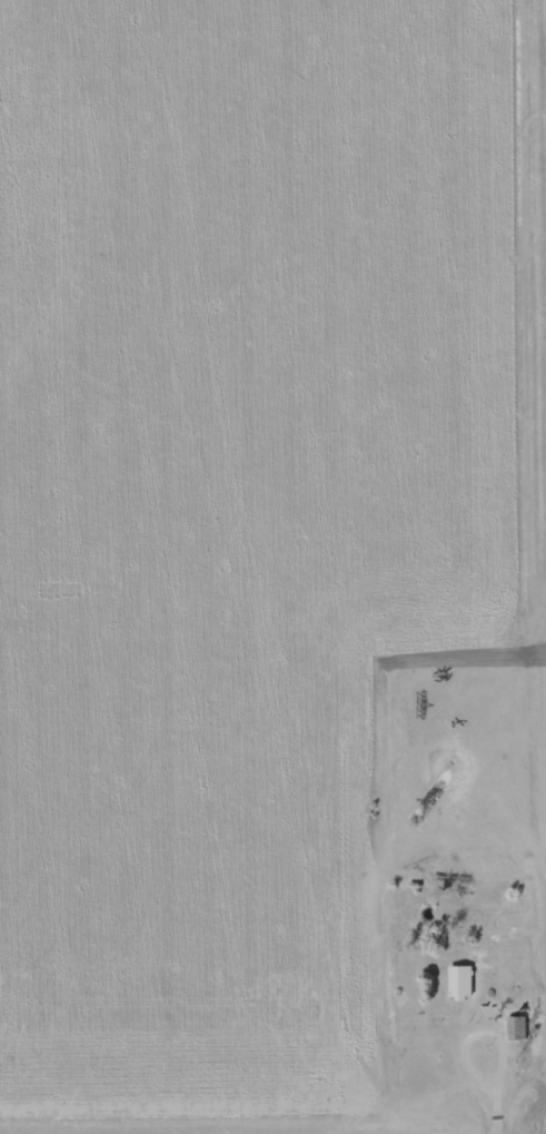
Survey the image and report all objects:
building: (463, 983)
building: (517, 1028)
building: (545, 1108)

